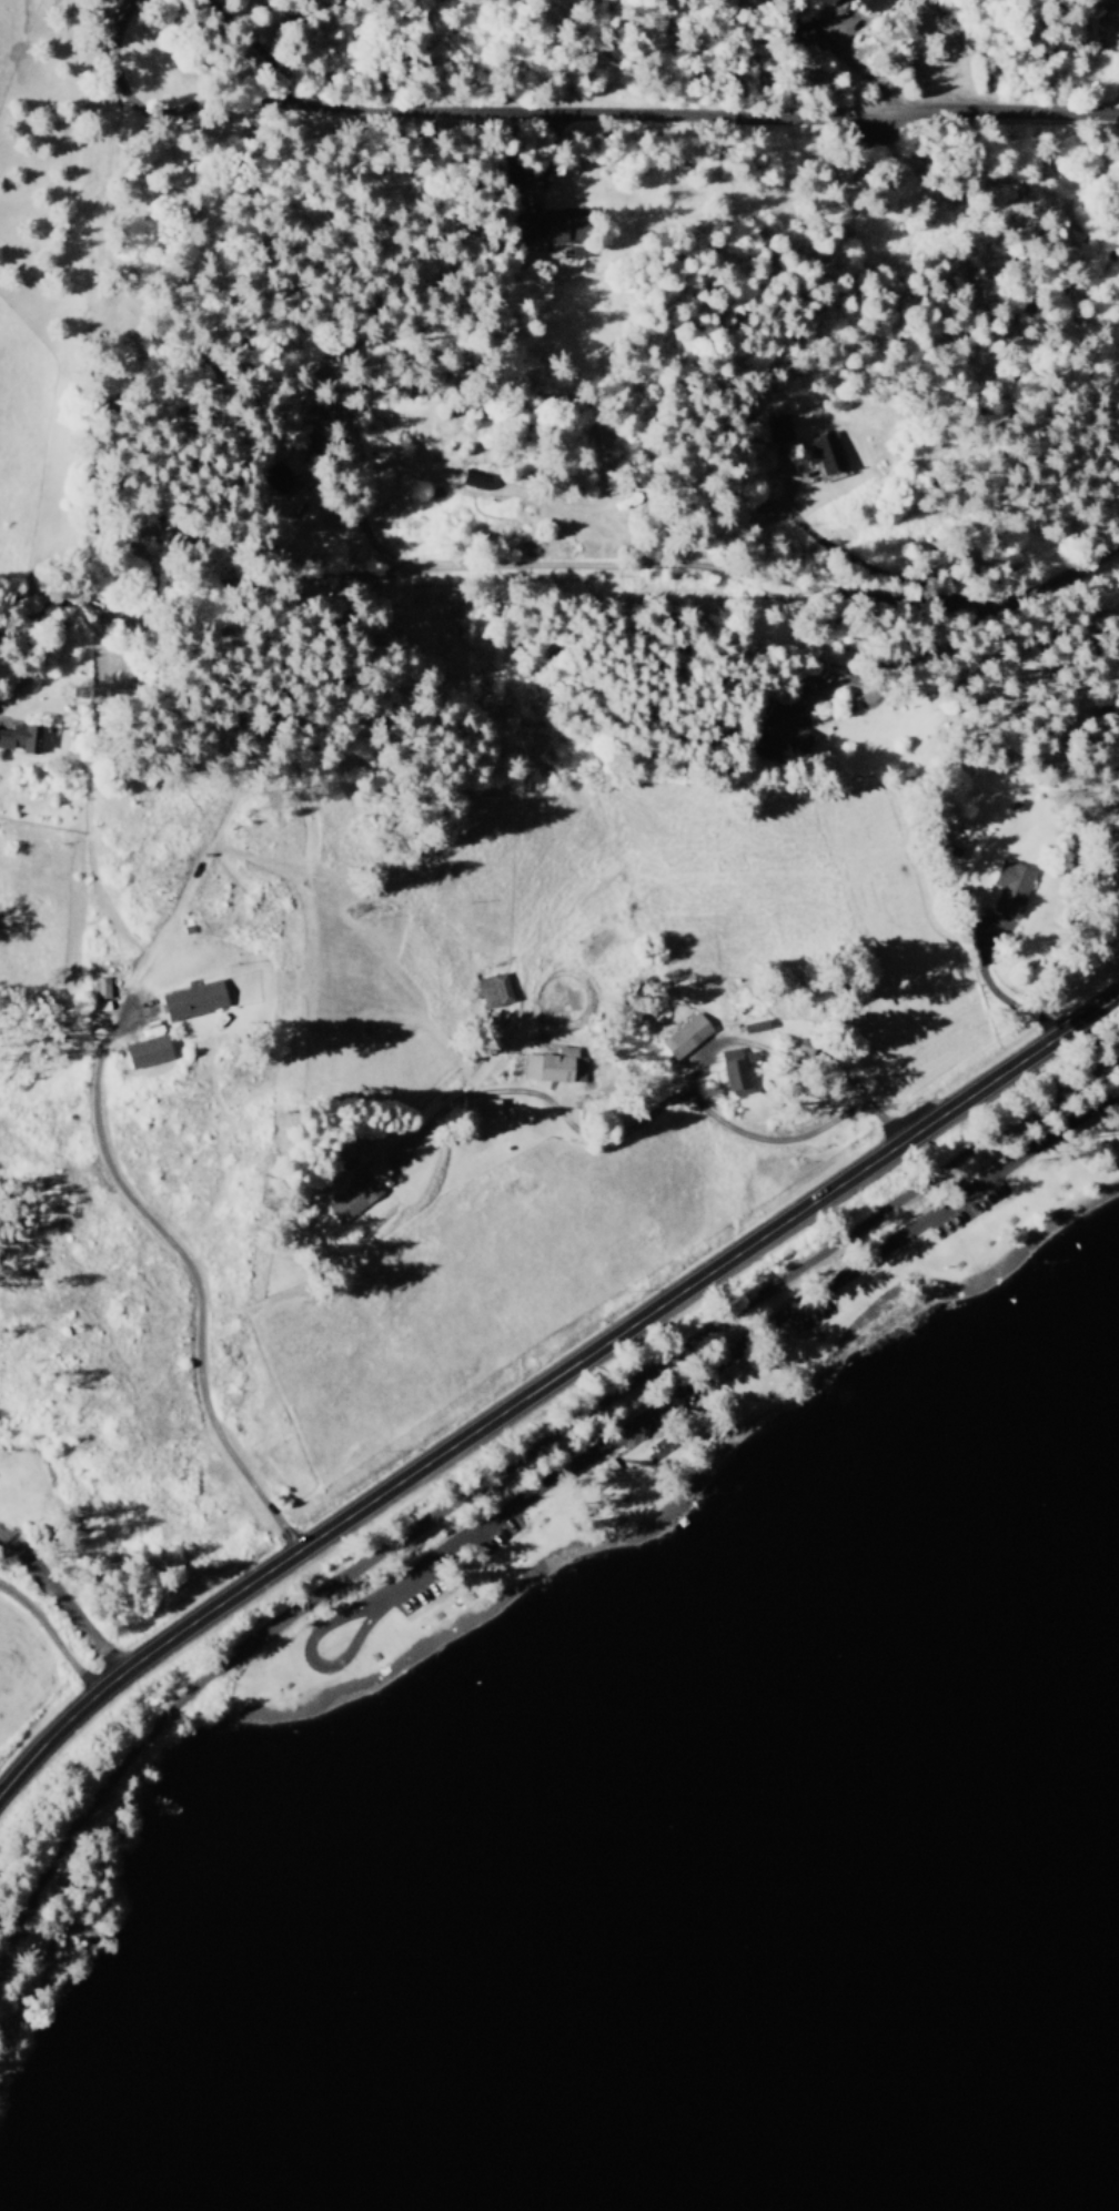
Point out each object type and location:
building: (870, 4)
road: (990, 108)
building: (542, 225)
building: (776, 426)
building: (820, 452)
building: (270, 472)
building: (466, 478)
road: (551, 571)
building: (777, 729)
building: (26, 738)
building: (1005, 887)
building: (492, 989)
building: (99, 992)
building: (188, 998)
building: (682, 1036)
road: (773, 1046)
building: (141, 1050)
building: (551, 1064)
building: (732, 1070)
road: (651, 1108)
building: (353, 1190)
road: (550, 1373)
road: (504, 1483)
road: (48, 1634)

